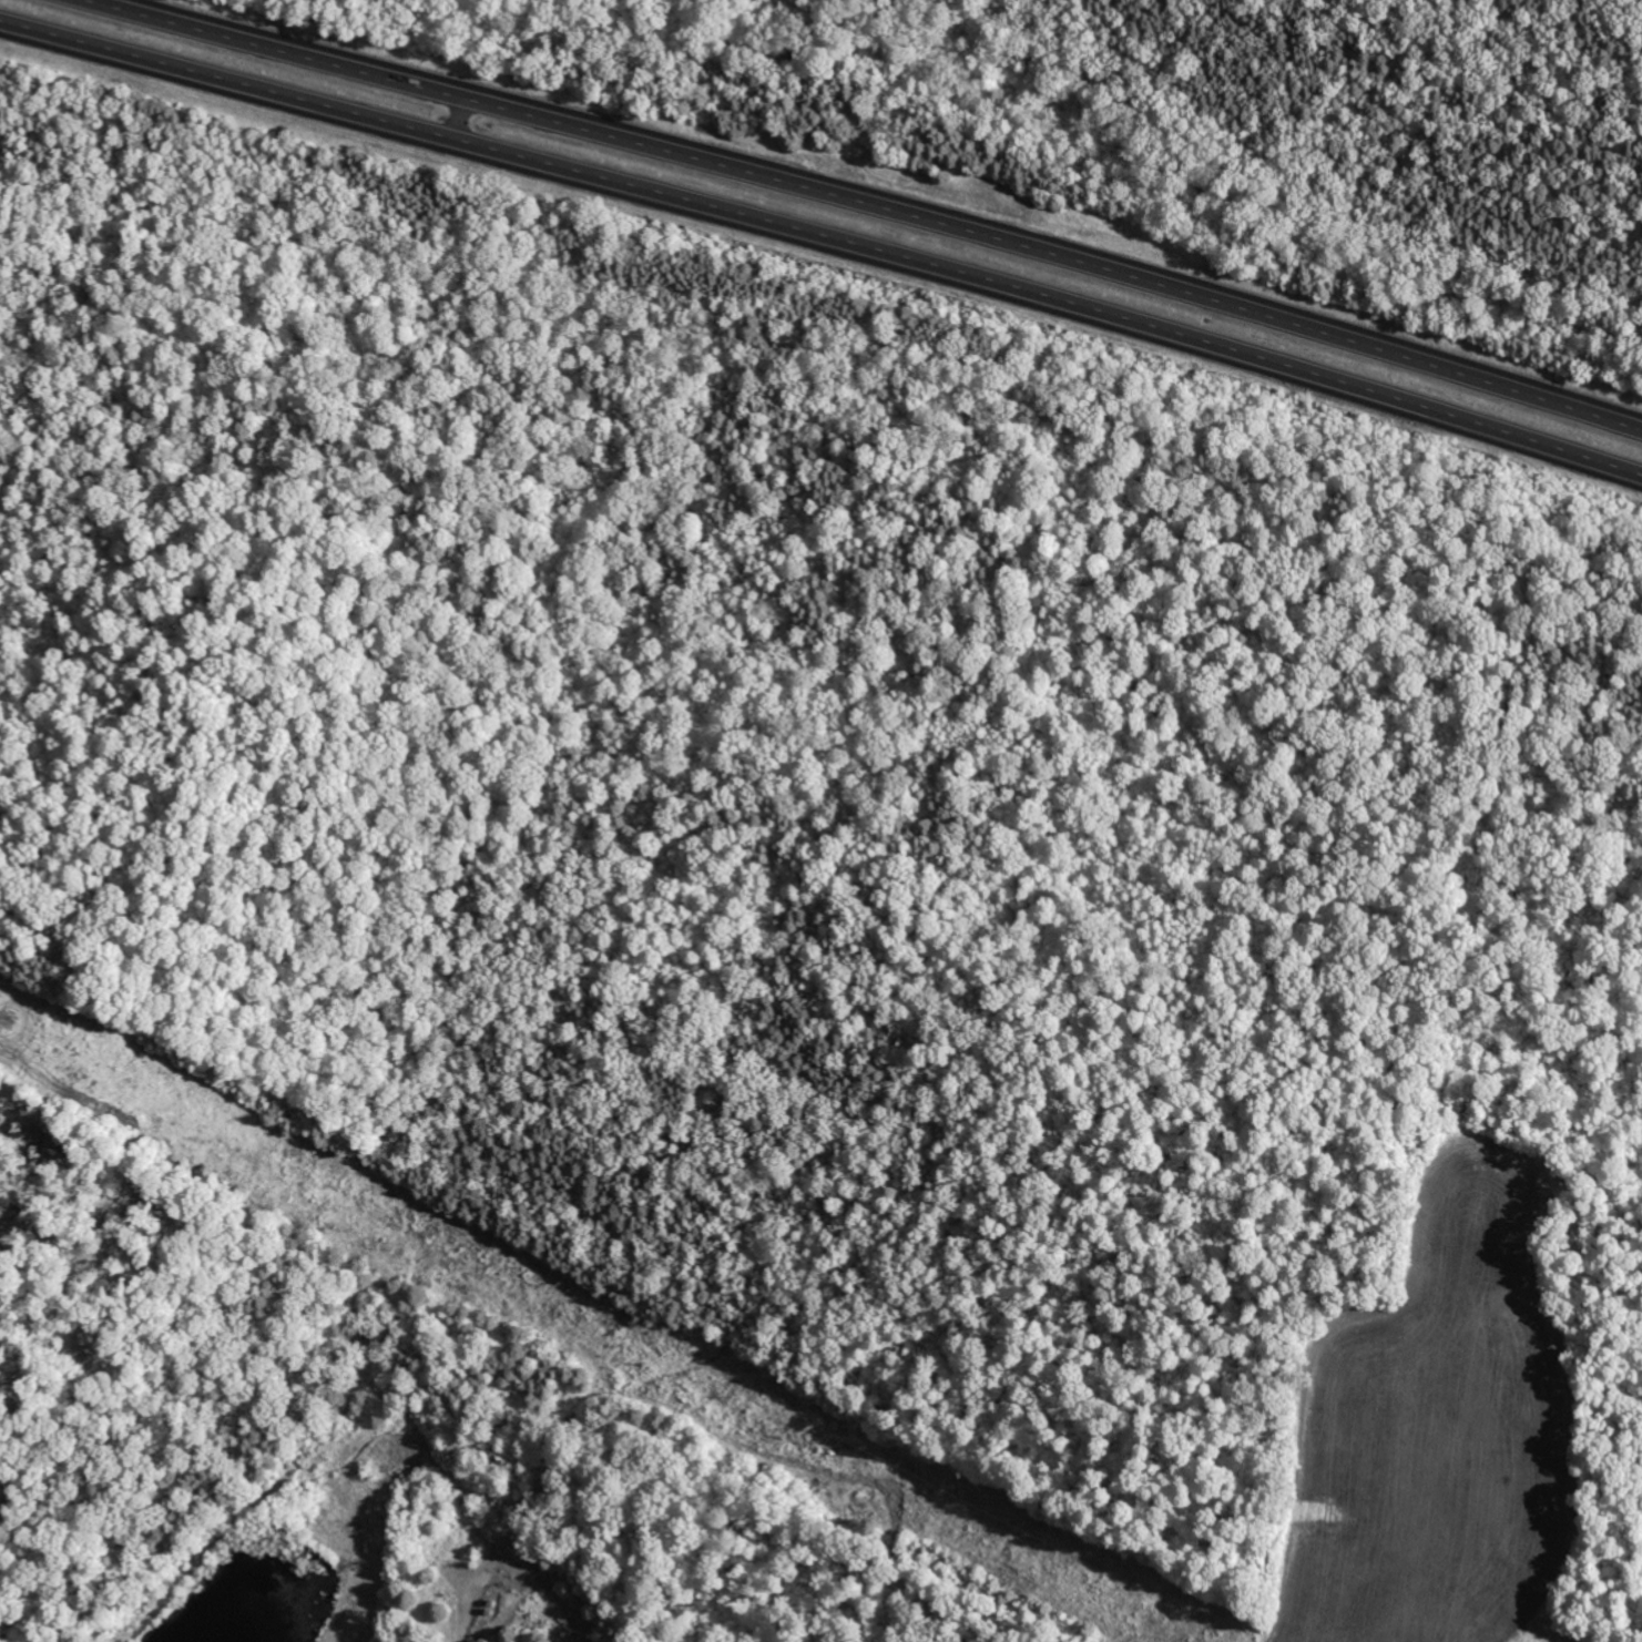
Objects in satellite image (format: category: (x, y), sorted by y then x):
road: (871, 202)
road: (824, 235)
power tower: (7, 1018)

